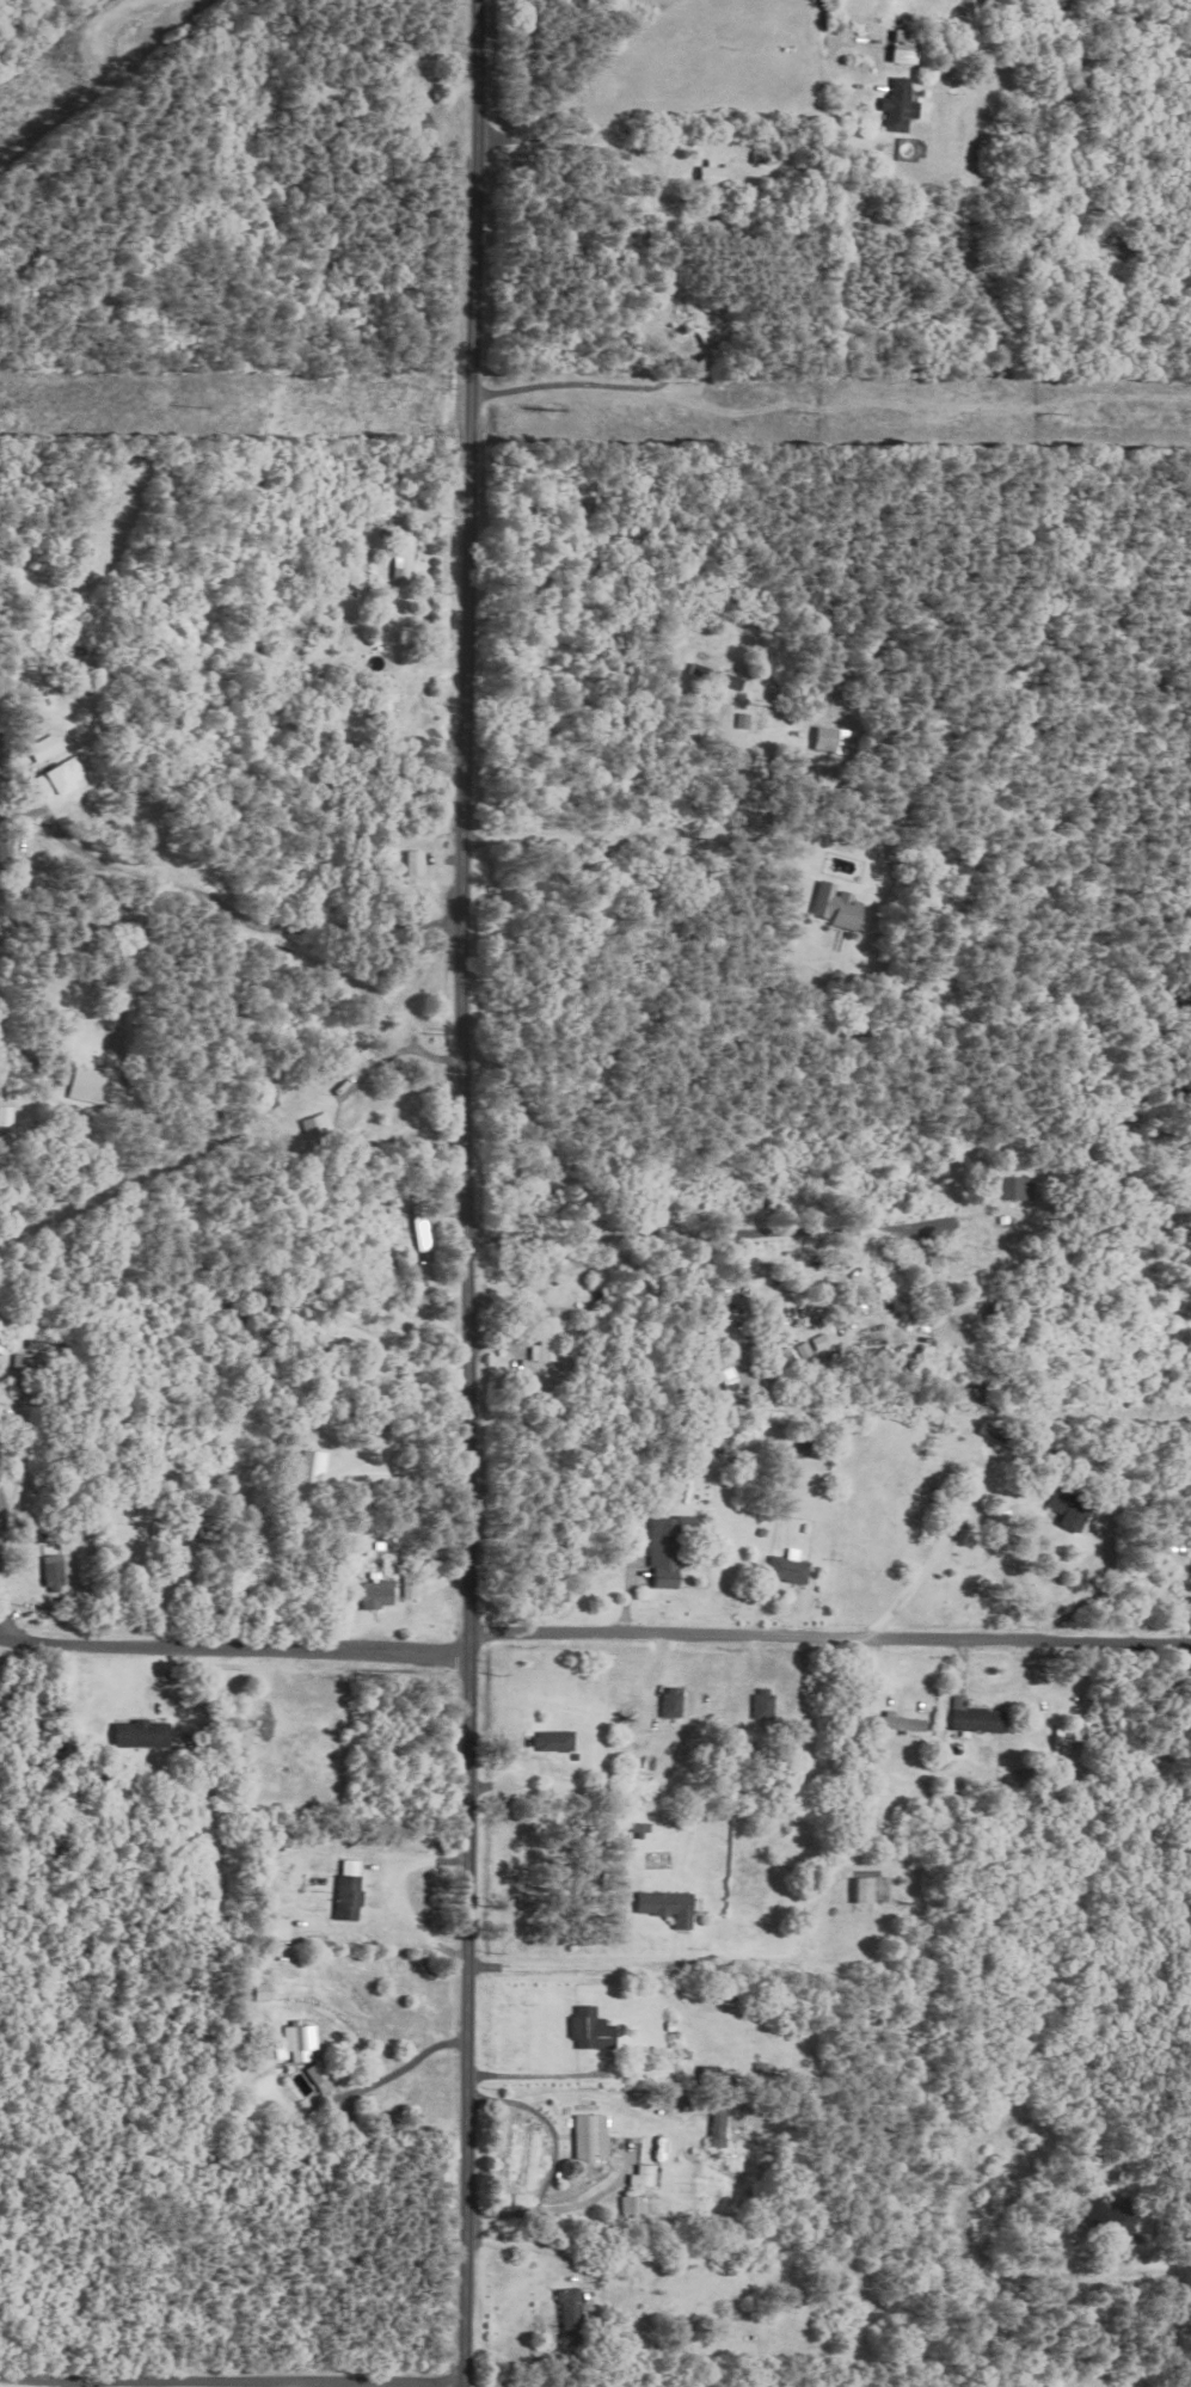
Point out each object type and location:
building: (907, 47)
road: (829, 51)
building: (902, 105)
building: (714, 173)
road: (573, 383)
building: (404, 560)
building: (714, 676)
building: (830, 740)
building: (44, 748)
building: (60, 779)
road: (638, 840)
road: (248, 891)
building: (834, 907)
building: (85, 1085)
road: (406, 1124)
building: (313, 1128)
building: (776, 1178)
building: (1012, 1189)
road: (467, 1193)
road: (710, 1222)
building: (545, 1337)
building: (23, 1368)
building: (711, 1443)
building: (312, 1466)
road: (409, 1473)
building: (1063, 1508)
road: (158, 1522)
building: (663, 1548)
road: (1, 1563)
road: (927, 1563)
building: (786, 1569)
building: (51, 1573)
building: (406, 1584)
building: (375, 1594)
road: (830, 1636)
road: (234, 1653)
building: (669, 1701)
building: (761, 1702)
building: (975, 1717)
building: (896, 1722)
building: (139, 1734)
building: (552, 1741)
building: (866, 1889)
building: (346, 1897)
building: (673, 1907)
building: (277, 1928)
road: (661, 1976)
building: (256, 1992)
building: (594, 2029)
building: (296, 2042)
road: (403, 2067)
building: (317, 2072)
road: (546, 2075)
building: (719, 2122)
road: (552, 2128)
building: (593, 2139)
building: (644, 2176)
building: (636, 2207)
road: (547, 2209)
building: (1106, 2215)
road: (538, 2244)
road: (1174, 2265)
building: (571, 2314)
road: (7, 2386)

